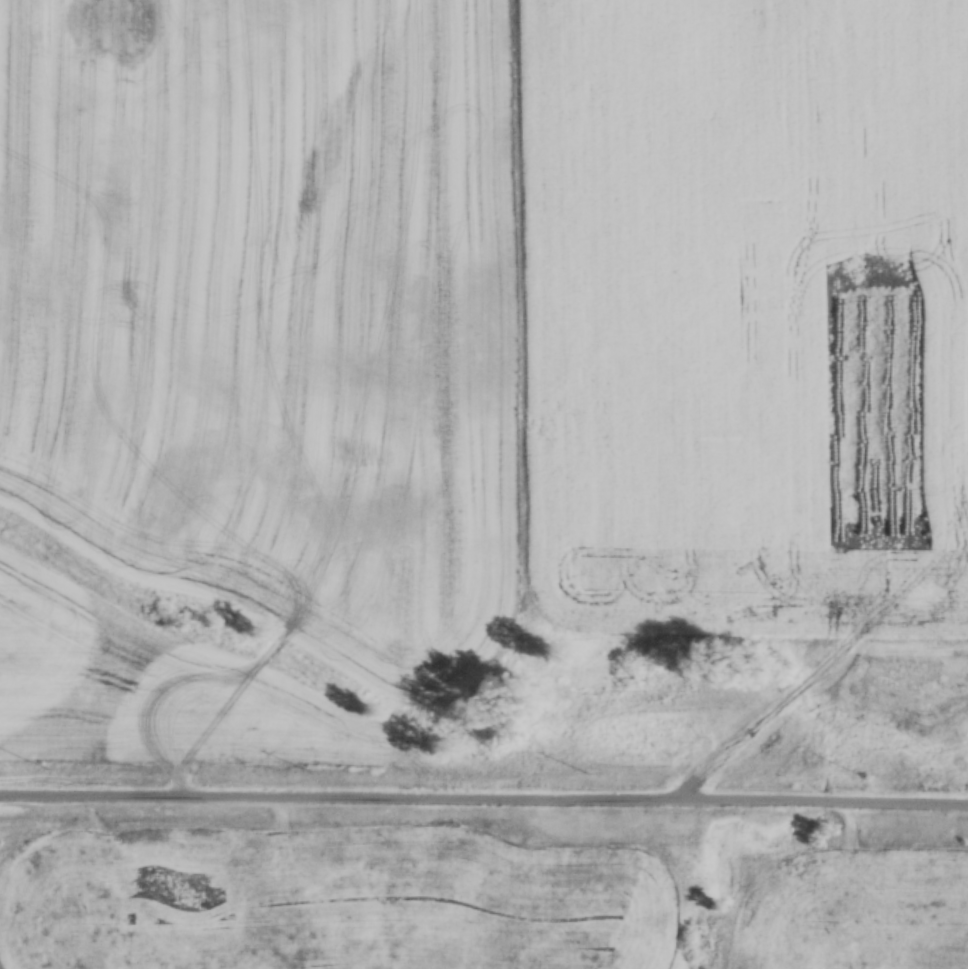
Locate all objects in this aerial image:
road: (483, 796)

